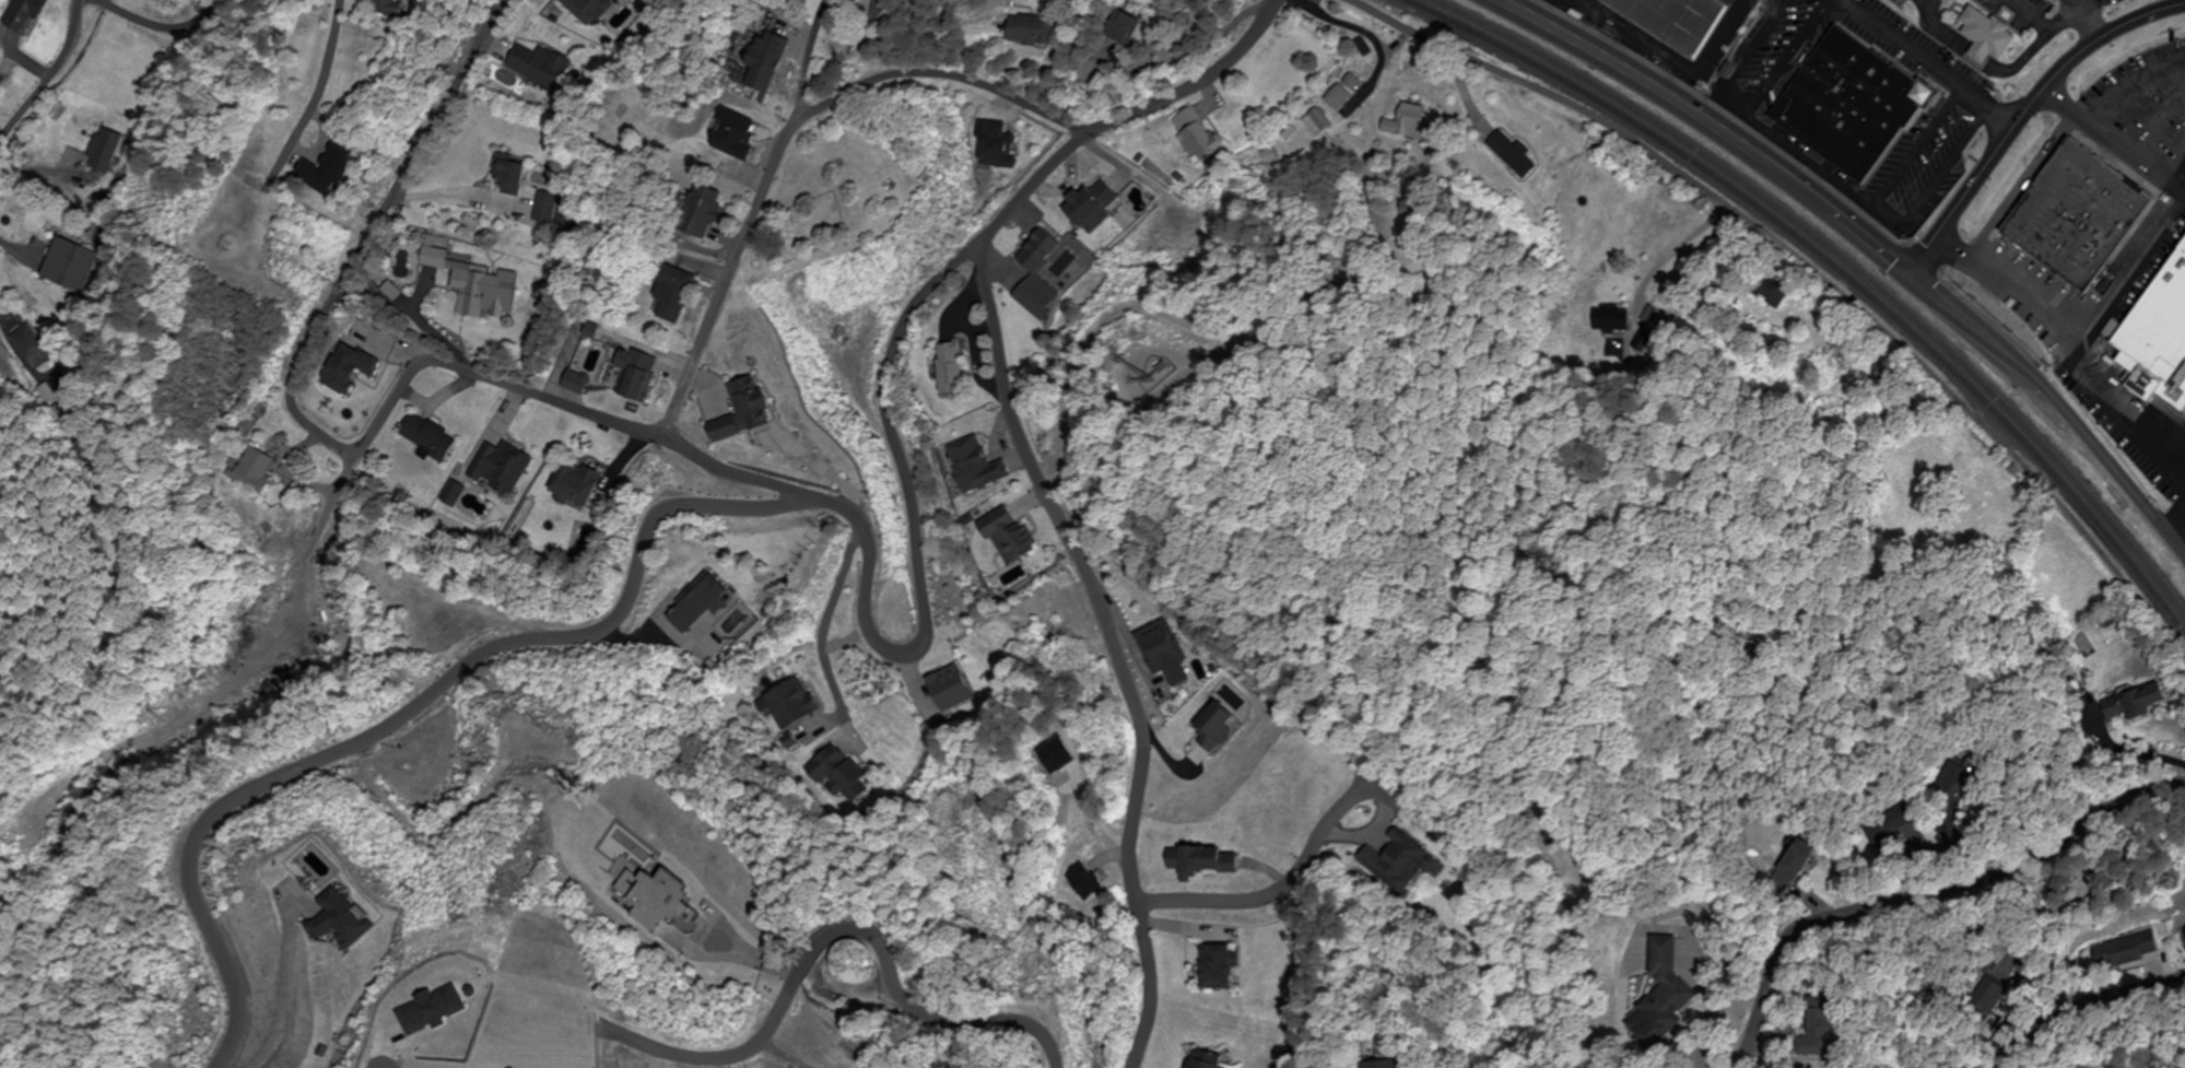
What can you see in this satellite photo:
building: (401, 9)
building: (589, 9)
building: (26, 16)
building: (1678, 23)
road: (161, 27)
building: (1136, 28)
building: (1046, 34)
building: (1990, 36)
road: (1790, 56)
road: (810, 58)
road: (1751, 59)
building: (771, 61)
road: (1926, 63)
building: (541, 68)
road: (46, 79)
road: (336, 84)
road: (2135, 86)
building: (1339, 98)
building: (1856, 110)
road: (2023, 113)
road: (1121, 116)
road: (2159, 121)
building: (1317, 122)
building: (1410, 124)
building: (1202, 134)
road: (2114, 141)
building: (1003, 146)
road: (1916, 149)
building: (104, 152)
building: (1512, 155)
road: (2173, 159)
building: (336, 174)
building: (513, 176)
road: (1683, 176)
building: (1096, 204)
building: (547, 209)
building: (706, 214)
road: (1886, 218)
building: (2082, 224)
power tower: (197, 226)
road: (1872, 245)
power tower: (237, 248)
building: (1044, 254)
building: (439, 259)
railway: (1829, 262)
building: (70, 267)
building: (1773, 287)
building: (479, 291)
building: (677, 296)
building: (1612, 319)
building: (2160, 341)
building: (32, 348)
road: (2068, 359)
building: (353, 368)
building: (953, 369)
building: (641, 374)
road: (291, 400)
building: (750, 410)
building: (433, 437)
building: (977, 465)
building: (505, 467)
building: (256, 468)
road: (750, 474)
building: (580, 485)
building: (1008, 533)
road: (2087, 535)
road: (2180, 543)
power tower: (820, 549)
building: (707, 602)
road: (1112, 652)
building: (1166, 652)
building: (953, 686)
road: (424, 702)
building: (2138, 703)
building: (797, 704)
building: (1219, 725)
building: (841, 771)
building: (1890, 825)
power tower: (983, 838)
building: (1798, 857)
building: (1206, 860)
building: (1397, 860)
road: (1927, 891)
road: (845, 932)
building: (2125, 952)
building: (858, 961)
building: (1222, 967)
road: (2151, 989)
building: (1666, 991)
power tower: (1069, 995)
building: (1986, 996)
building: (1825, 1030)
building: (1210, 1059)
building: (1390, 1065)

